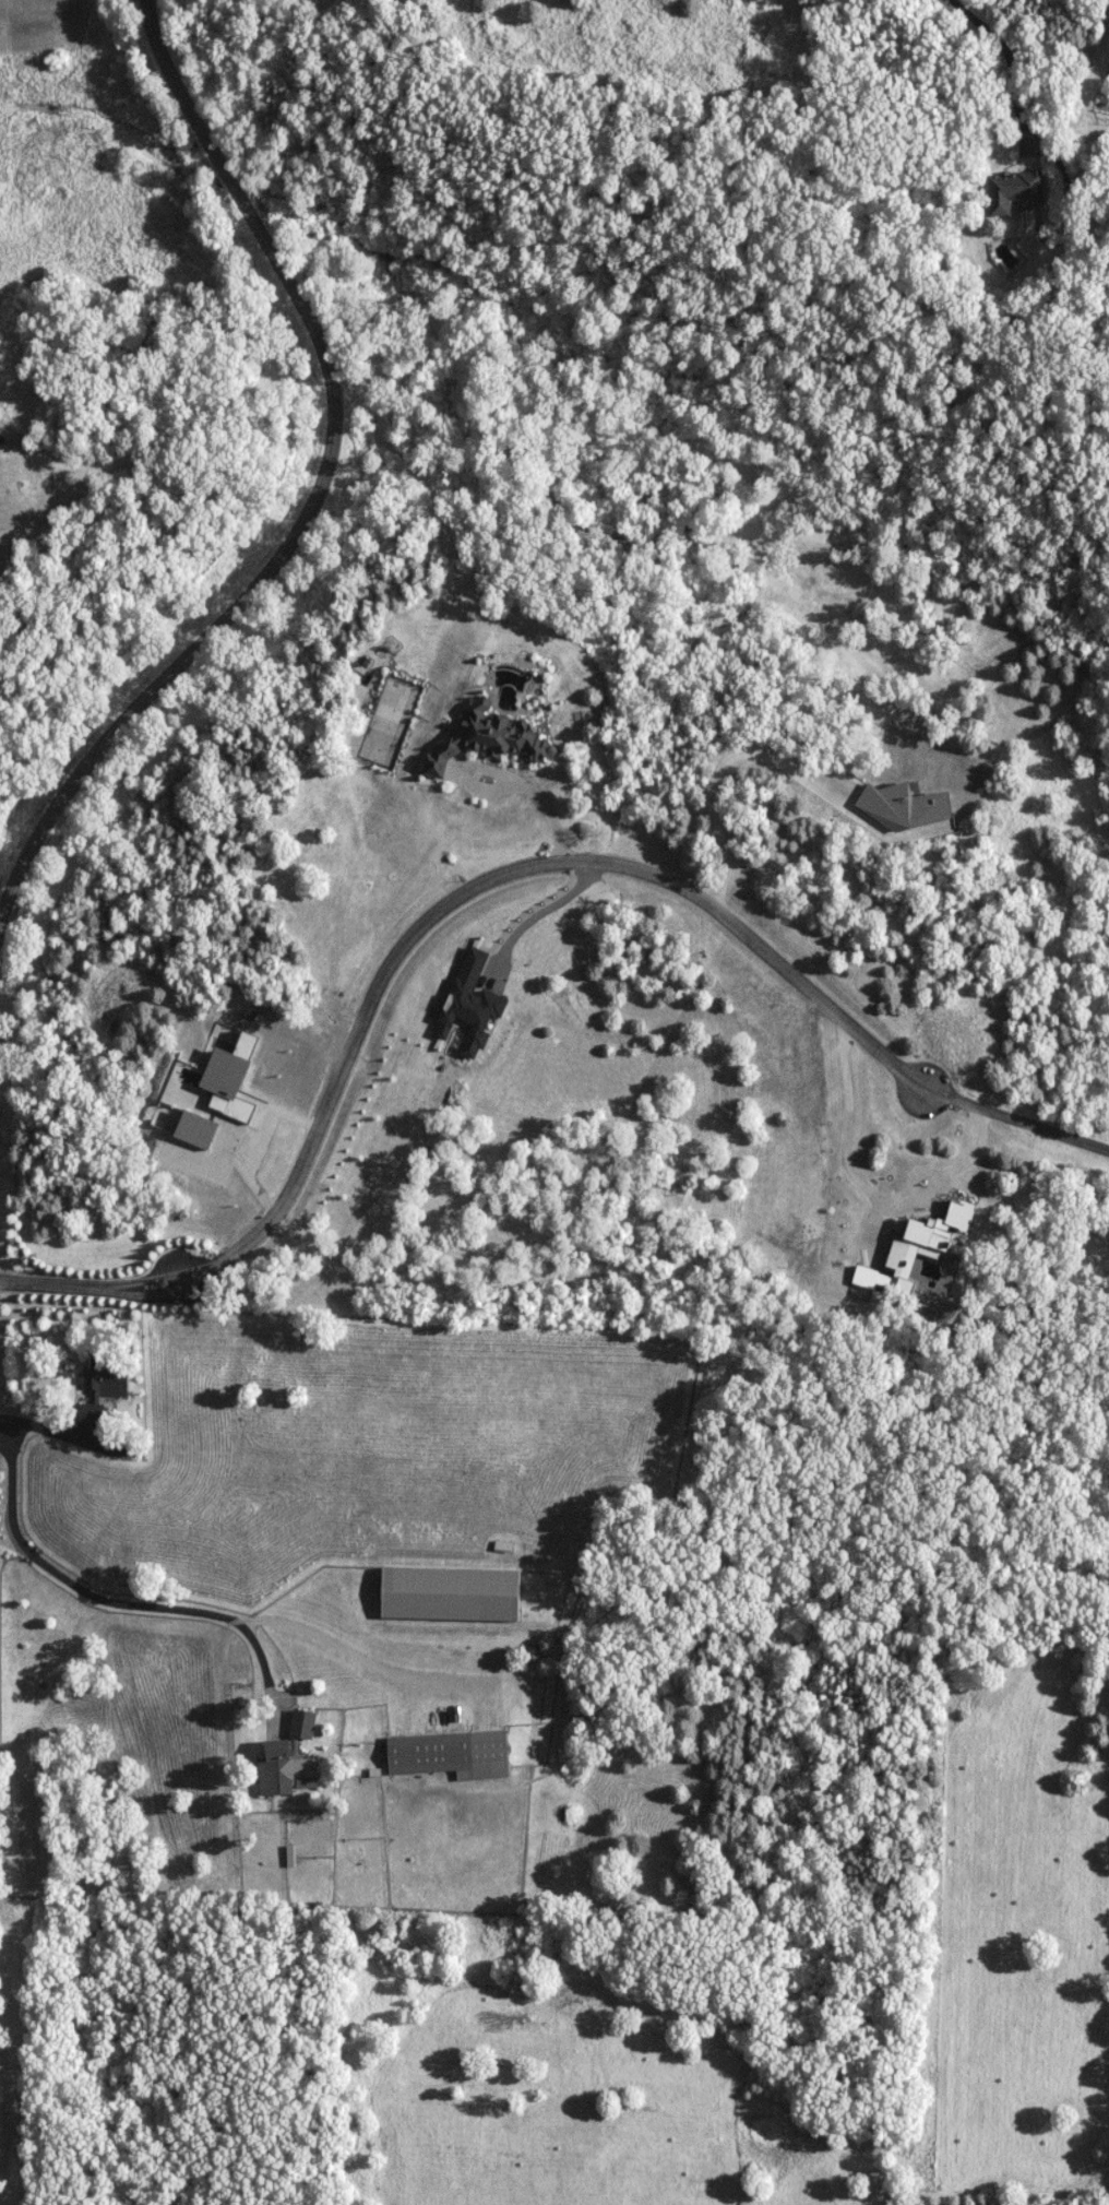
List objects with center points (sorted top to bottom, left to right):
road: (1011, 62)
building: (1015, 191)
road: (319, 497)
building: (478, 714)
road: (720, 767)
road: (512, 779)
road: (494, 879)
road: (539, 912)
road: (866, 1192)
building: (100, 1388)
building: (568, 1516)
building: (449, 1593)
road: (110, 1602)
building: (450, 1753)
building: (285, 1756)

